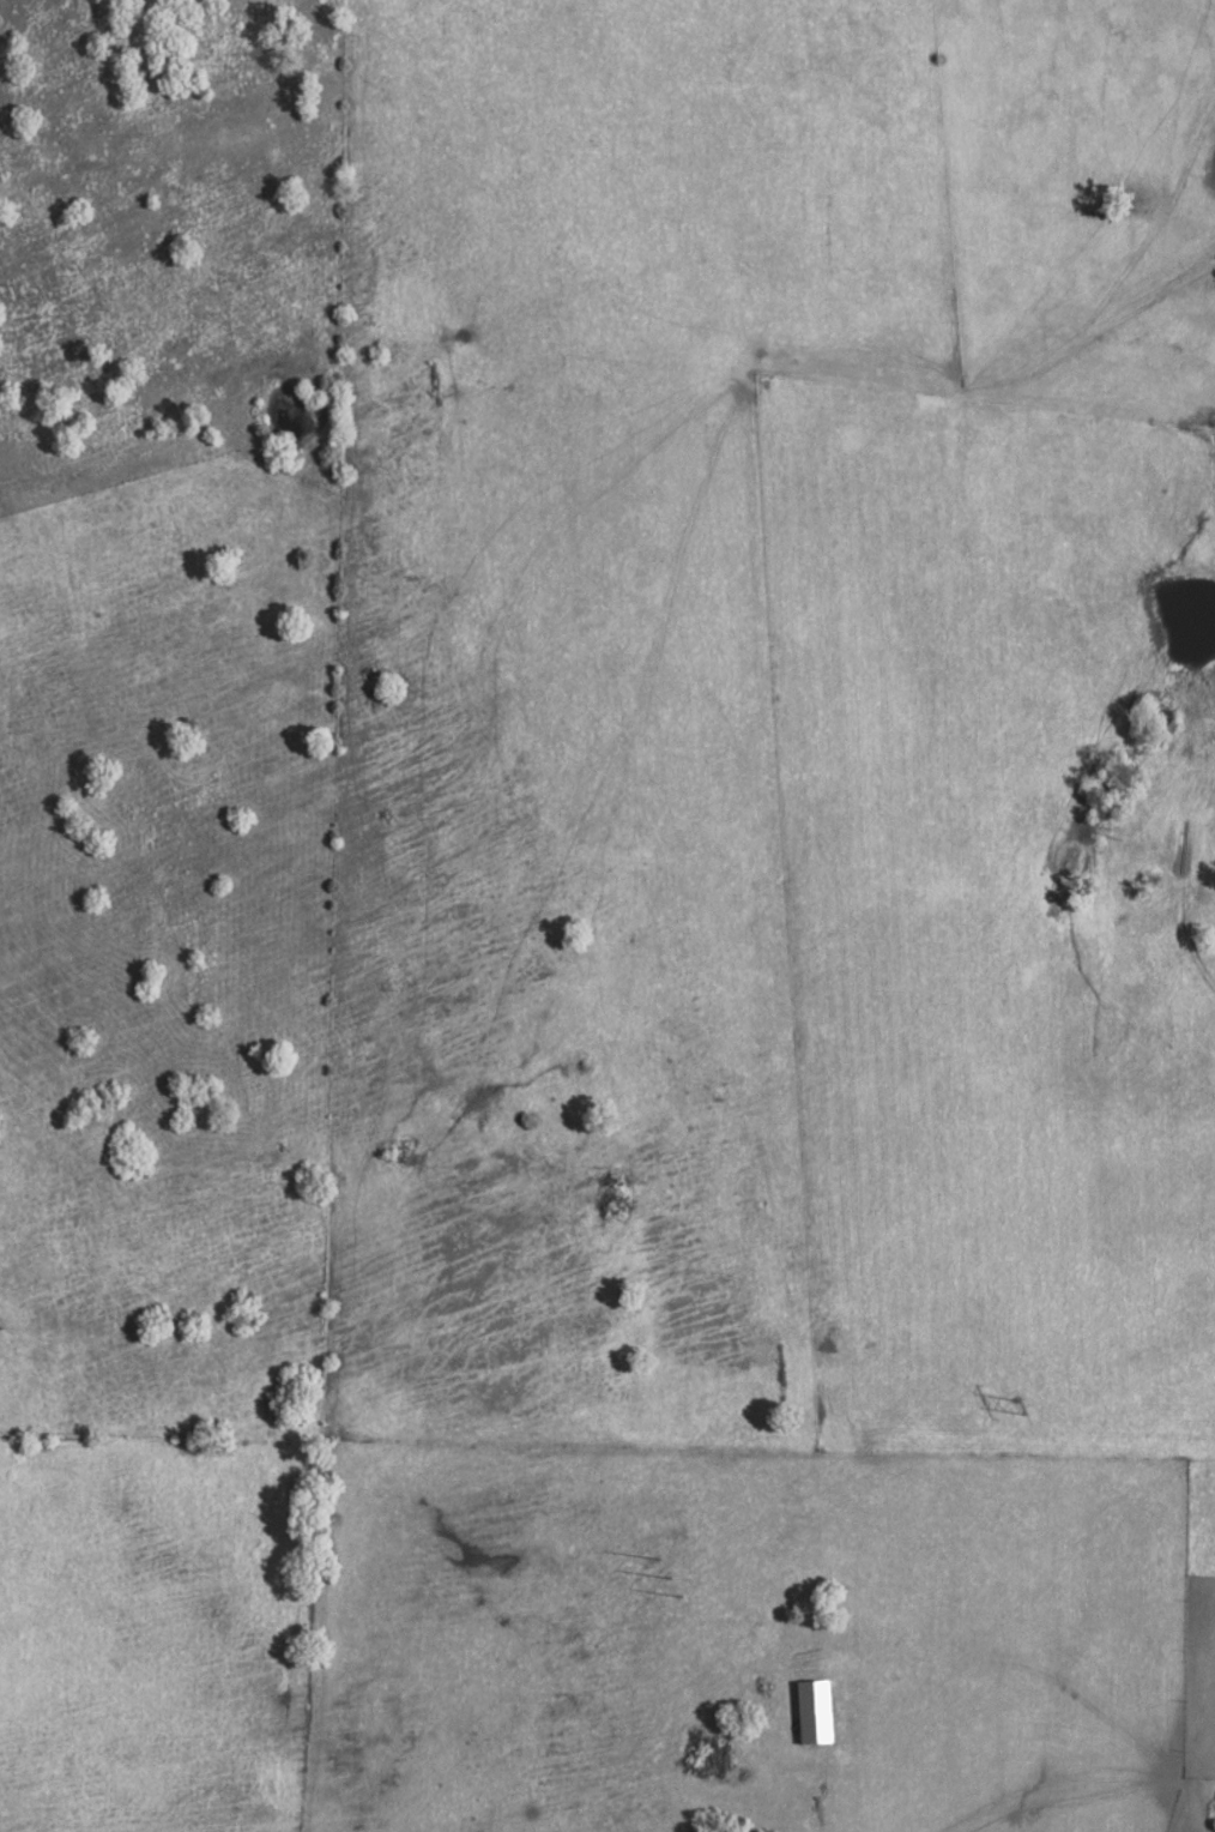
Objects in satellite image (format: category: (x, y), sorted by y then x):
power tower: (1017, 1404)
power tower: (659, 1577)
building: (809, 1709)

